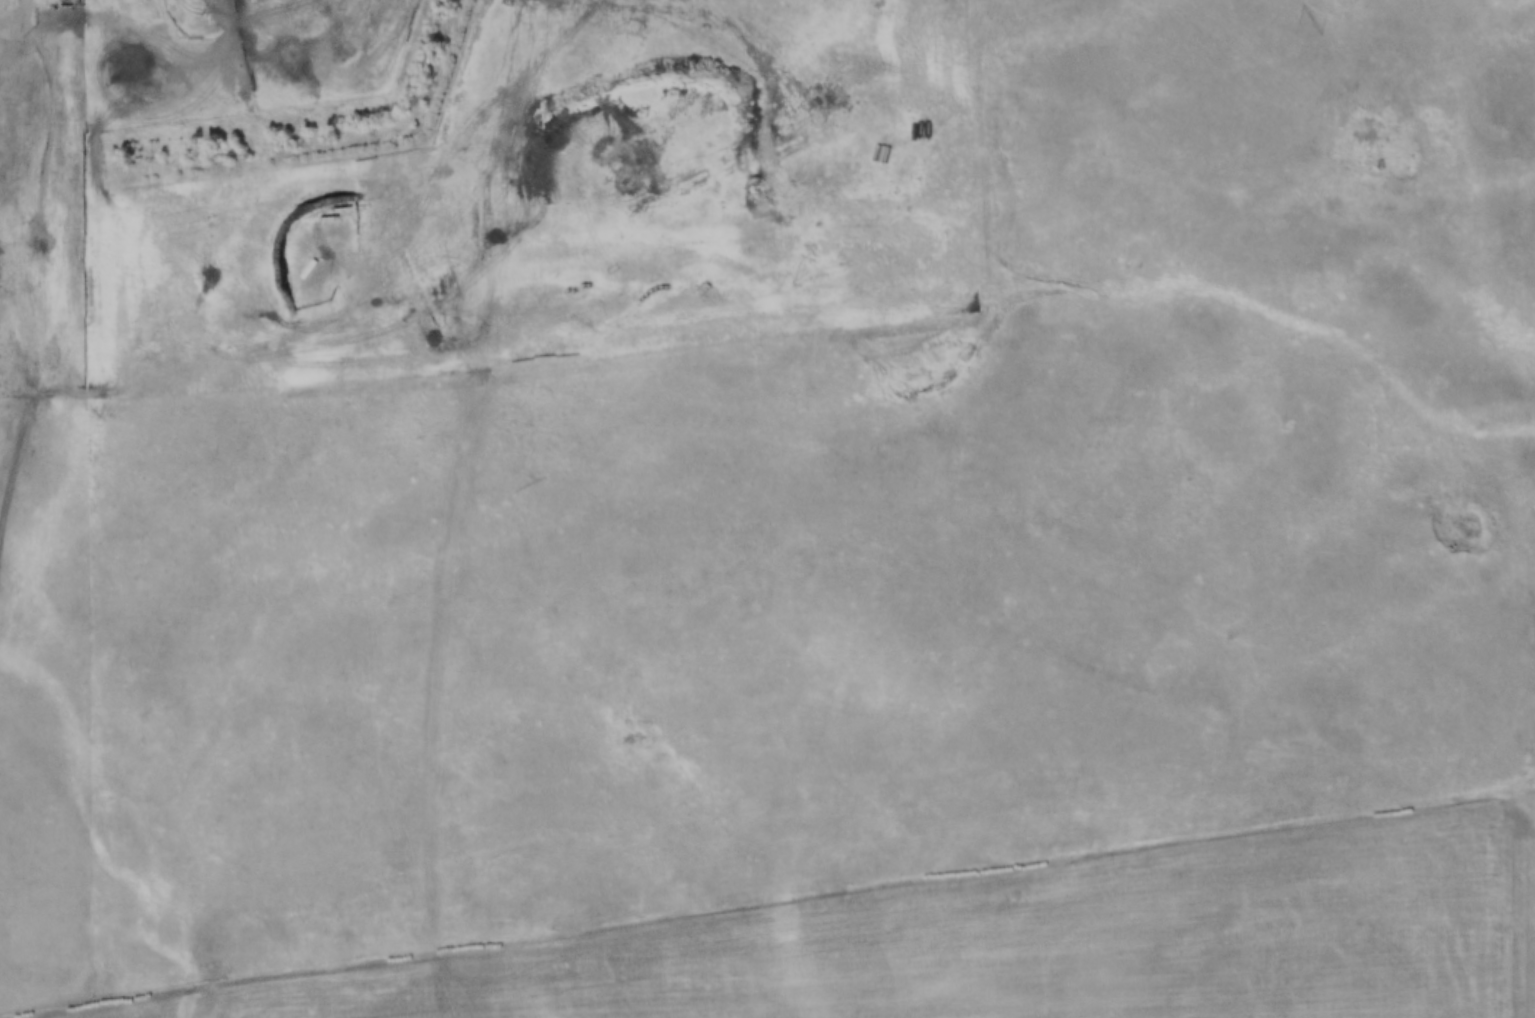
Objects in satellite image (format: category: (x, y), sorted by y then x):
road: (37, 287)

